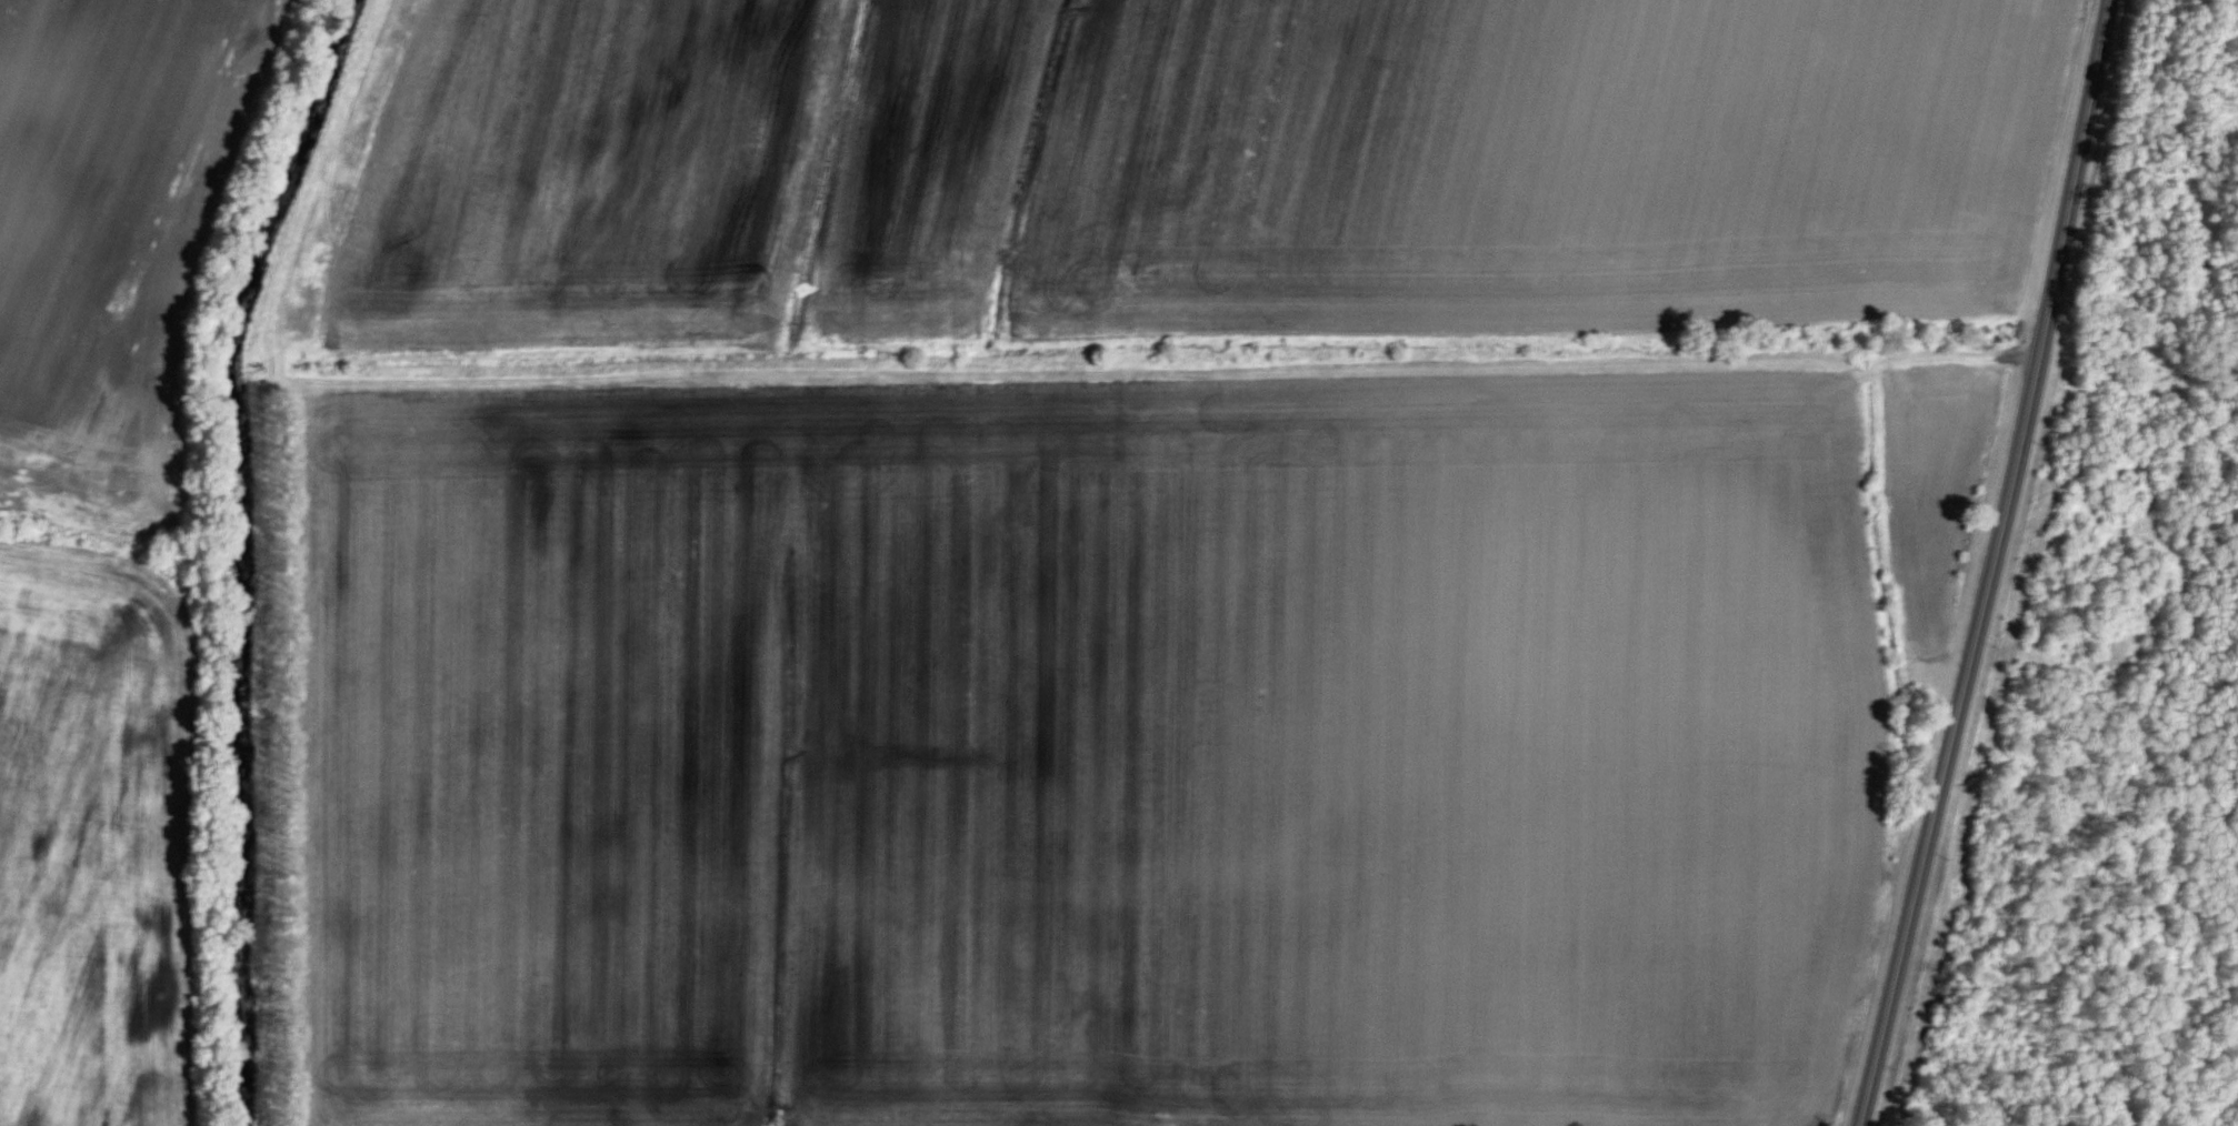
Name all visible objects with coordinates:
road: (1989, 564)

